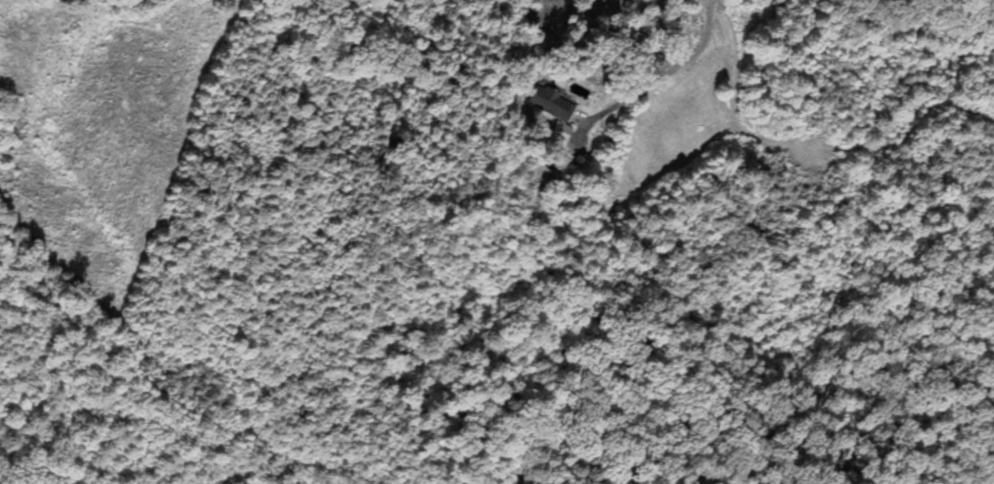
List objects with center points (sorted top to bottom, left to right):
road: (658, 61)
building: (555, 112)

